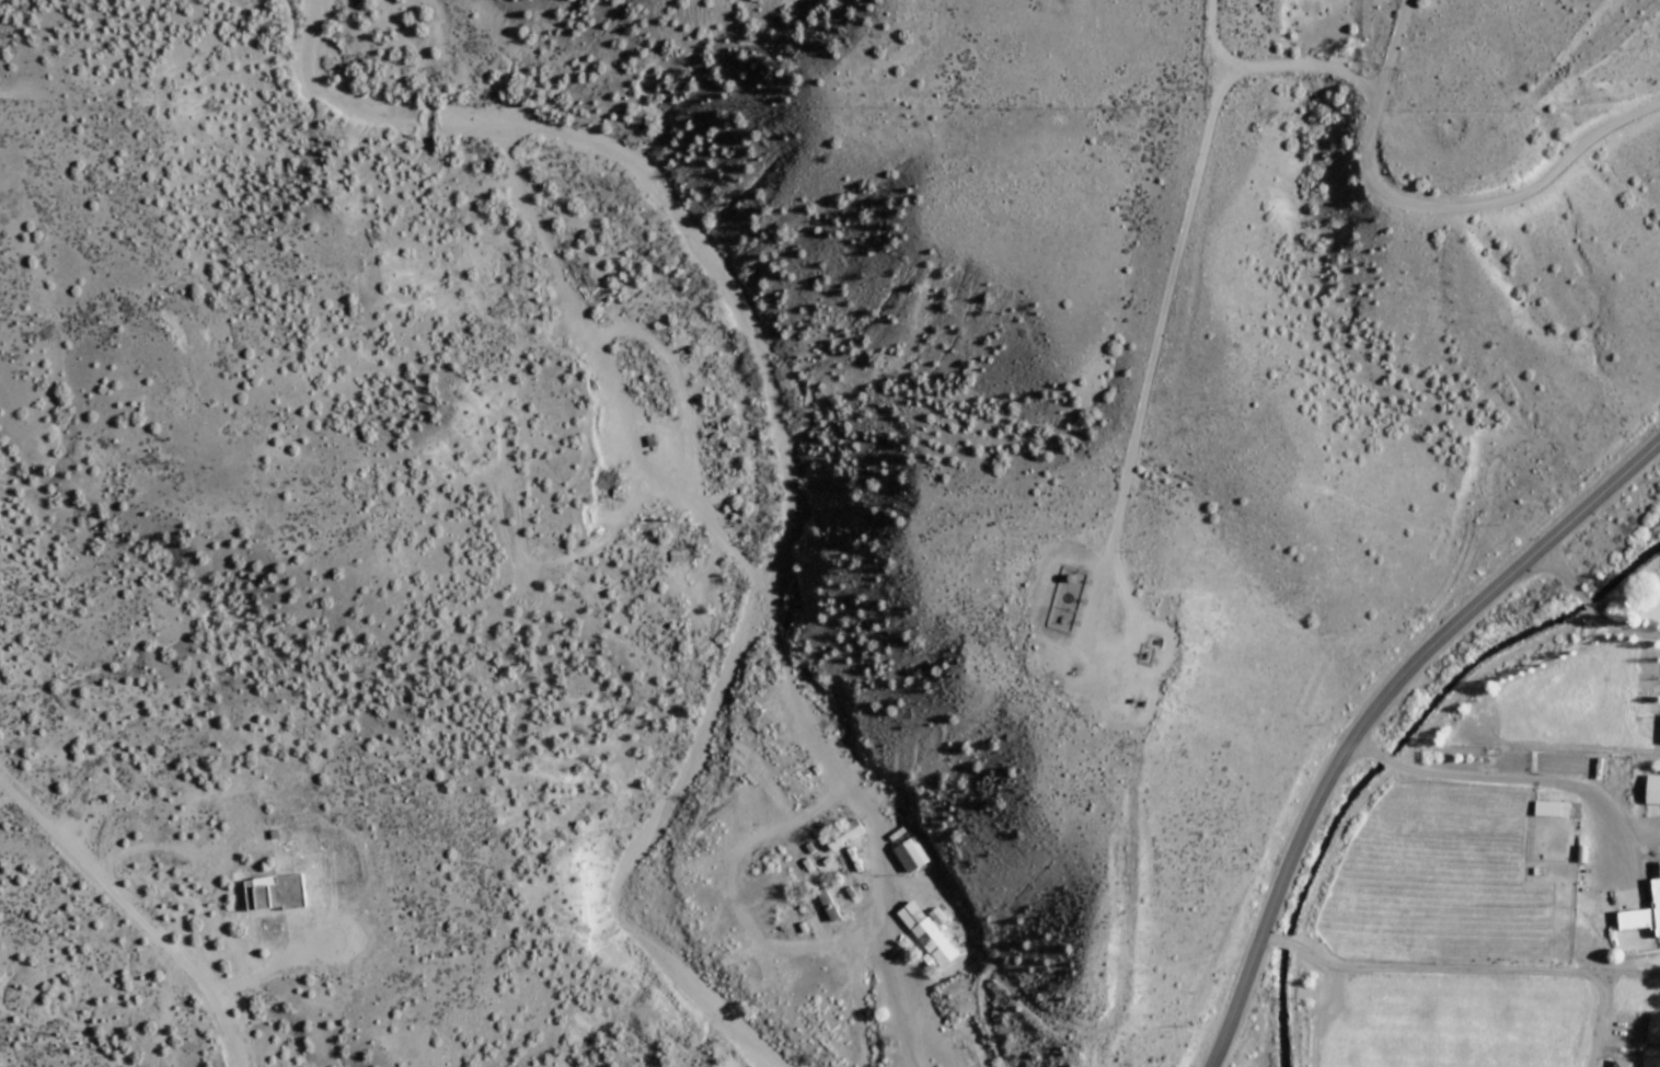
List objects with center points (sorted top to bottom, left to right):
road: (1283, 67)
road: (12, 95)
road: (1433, 207)
road: (1149, 370)
road: (675, 385)
road: (607, 535)
road: (759, 592)
road: (1373, 710)
building: (777, 715)
road: (1398, 762)
road: (1528, 780)
building: (1652, 790)
road: (1639, 831)
building: (843, 835)
building: (909, 856)
road: (78, 861)
building: (1659, 868)
building: (274, 894)
building: (827, 906)
road: (735, 908)
building: (1642, 915)
building: (926, 934)
road: (1468, 972)
road: (264, 973)
road: (215, 985)
road: (207, 996)
road: (1318, 1016)
building: (960, 1052)
road: (935, 1053)
building: (1619, 1064)
road: (1592, 1065)

